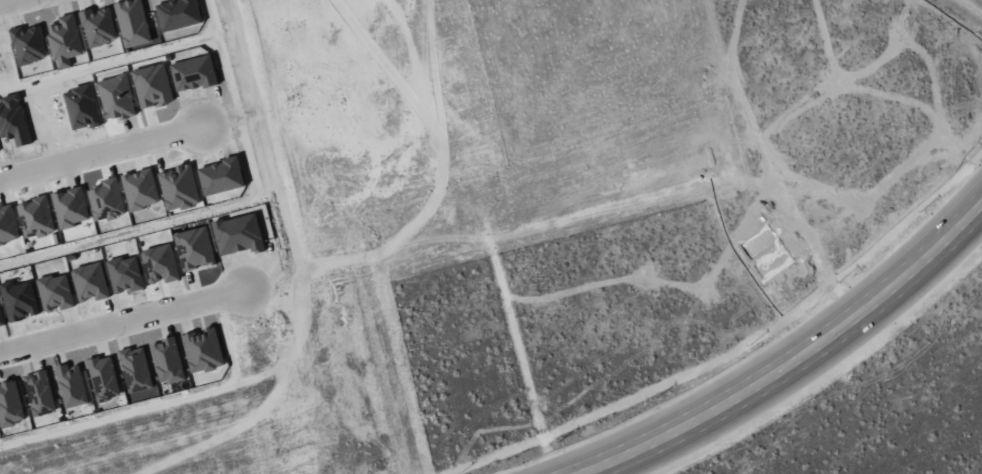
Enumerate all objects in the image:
road: (6, 1)
building: (178, 14)
building: (133, 23)
building: (98, 27)
building: (65, 41)
building: (193, 73)
building: (152, 86)
building: (116, 98)
building: (74, 105)
road: (100, 153)
building: (221, 177)
building: (179, 189)
building: (140, 190)
building: (106, 201)
building: (70, 207)
building: (36, 218)
building: (8, 226)
building: (238, 234)
building: (195, 248)
building: (160, 264)
building: (125, 275)
building: (90, 282)
building: (55, 292)
building: (19, 301)
building: (0, 320)
road: (124, 321)
building: (204, 350)
building: (169, 360)
road: (795, 360)
building: (136, 369)
building: (104, 378)
building: (72, 385)
building: (39, 393)
road: (158, 403)
building: (10, 404)

